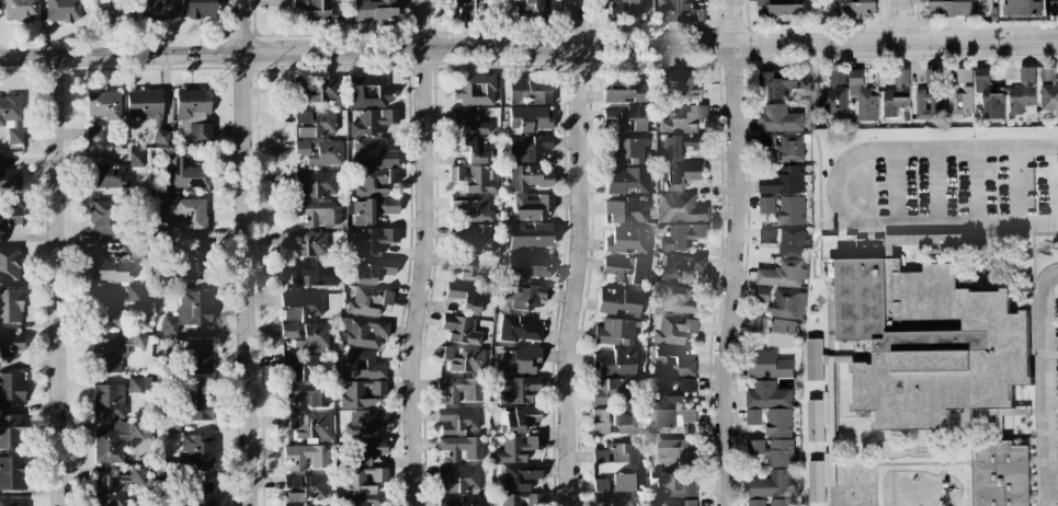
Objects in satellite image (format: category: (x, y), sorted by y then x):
building: (469, 7)
building: (781, 7)
building: (854, 7)
building: (949, 7)
building: (1051, 7)
building: (158, 8)
building: (612, 8)
building: (1021, 8)
building: (196, 9)
building: (534, 9)
building: (21, 10)
building: (316, 10)
building: (678, 10)
building: (374, 11)
building: (105, 14)
road: (902, 21)
road: (528, 47)
building: (1027, 73)
building: (1047, 73)
building: (783, 82)
building: (319, 90)
building: (475, 90)
building: (528, 91)
building: (625, 91)
building: (369, 92)
building: (897, 93)
building: (834, 94)
building: (962, 94)
building: (988, 94)
building: (929, 95)
building: (863, 96)
building: (1049, 97)
building: (1021, 99)
building: (103, 104)
building: (192, 104)
building: (147, 111)
building: (11, 117)
building: (626, 118)
building: (778, 118)
building: (530, 119)
building: (683, 119)
building: (468, 120)
building: (372, 122)
building: (315, 123)
building: (200, 133)
building: (694, 140)
building: (672, 147)
building: (790, 147)
building: (530, 148)
building: (471, 149)
building: (626, 150)
building: (319, 152)
building: (373, 153)
building: (136, 159)
building: (0, 160)
building: (186, 173)
building: (110, 176)
building: (679, 176)
building: (528, 177)
building: (474, 179)
building: (9, 180)
building: (783, 180)
building: (626, 181)
building: (316, 184)
road: (935, 185)
road: (974, 185)
road: (1015, 185)
road: (894, 186)
parking lot: (953, 186)
road: (832, 187)
building: (372, 195)
building: (766, 205)
building: (473, 207)
building: (532, 207)
building: (680, 208)
building: (625, 210)
building: (790, 210)
road: (872, 212)
building: (320, 214)
building: (191, 215)
building: (9, 217)
building: (104, 217)
road: (828, 233)
road: (948, 234)
building: (682, 235)
building: (767, 235)
road: (839, 235)
building: (531, 237)
building: (477, 238)
building: (928, 239)
building: (372, 240)
building: (627, 241)
building: (792, 241)
building: (306, 244)
building: (137, 252)
road: (247, 252)
road: (425, 253)
road: (580, 253)
road: (733, 253)
building: (196, 262)
building: (9, 264)
building: (680, 265)
building: (527, 266)
building: (373, 269)
building: (111, 271)
building: (473, 271)
building: (625, 271)
building: (782, 274)
building: (310, 275)
road: (812, 277)
road: (59, 281)
building: (525, 296)
building: (465, 297)
building: (673, 298)
building: (368, 301)
building: (618, 301)
building: (787, 303)
building: (10, 306)
building: (109, 306)
building: (300, 307)
building: (189, 311)
building: (519, 330)
building: (674, 330)
building: (774, 330)
building: (614, 332)
building: (363, 333)
building: (926, 338)
building: (10, 344)
building: (462, 345)
building: (115, 350)
road: (1039, 354)
building: (200, 357)
building: (812, 359)
building: (519, 360)
building: (672, 361)
building: (613, 363)
building: (362, 365)
building: (767, 365)
road: (1034, 365)
building: (303, 367)
road: (1046, 383)
building: (138, 384)
building: (11, 390)
building: (459, 390)
building: (671, 390)
building: (520, 391)
building: (612, 392)
building: (361, 393)
building: (767, 394)
building: (306, 395)
building: (107, 401)
building: (196, 403)
building: (672, 416)
building: (516, 419)
building: (770, 419)
building: (815, 419)
building: (457, 421)
building: (366, 422)
building: (615, 423)
building: (309, 428)
building: (10, 429)
road: (967, 437)
building: (117, 440)
building: (460, 448)
building: (515, 448)
building: (197, 449)
building: (369, 449)
building: (673, 451)
building: (617, 453)
building: (306, 456)
road: (897, 463)
building: (772, 468)
building: (12, 473)
building: (1001, 475)
building: (520, 476)
building: (820, 478)
building: (460, 479)
building: (664, 479)
building: (363, 481)
building: (291, 483)
building: (614, 483)
building: (312, 486)
building: (115, 487)
building: (685, 487)
building: (200, 494)
building: (294, 497)
road: (1048, 498)
building: (613, 499)
building: (468, 501)
building: (12, 502)
building: (364, 502)
building: (675, 502)
building: (772, 502)
road: (1047, 504)
building: (323, 505)

